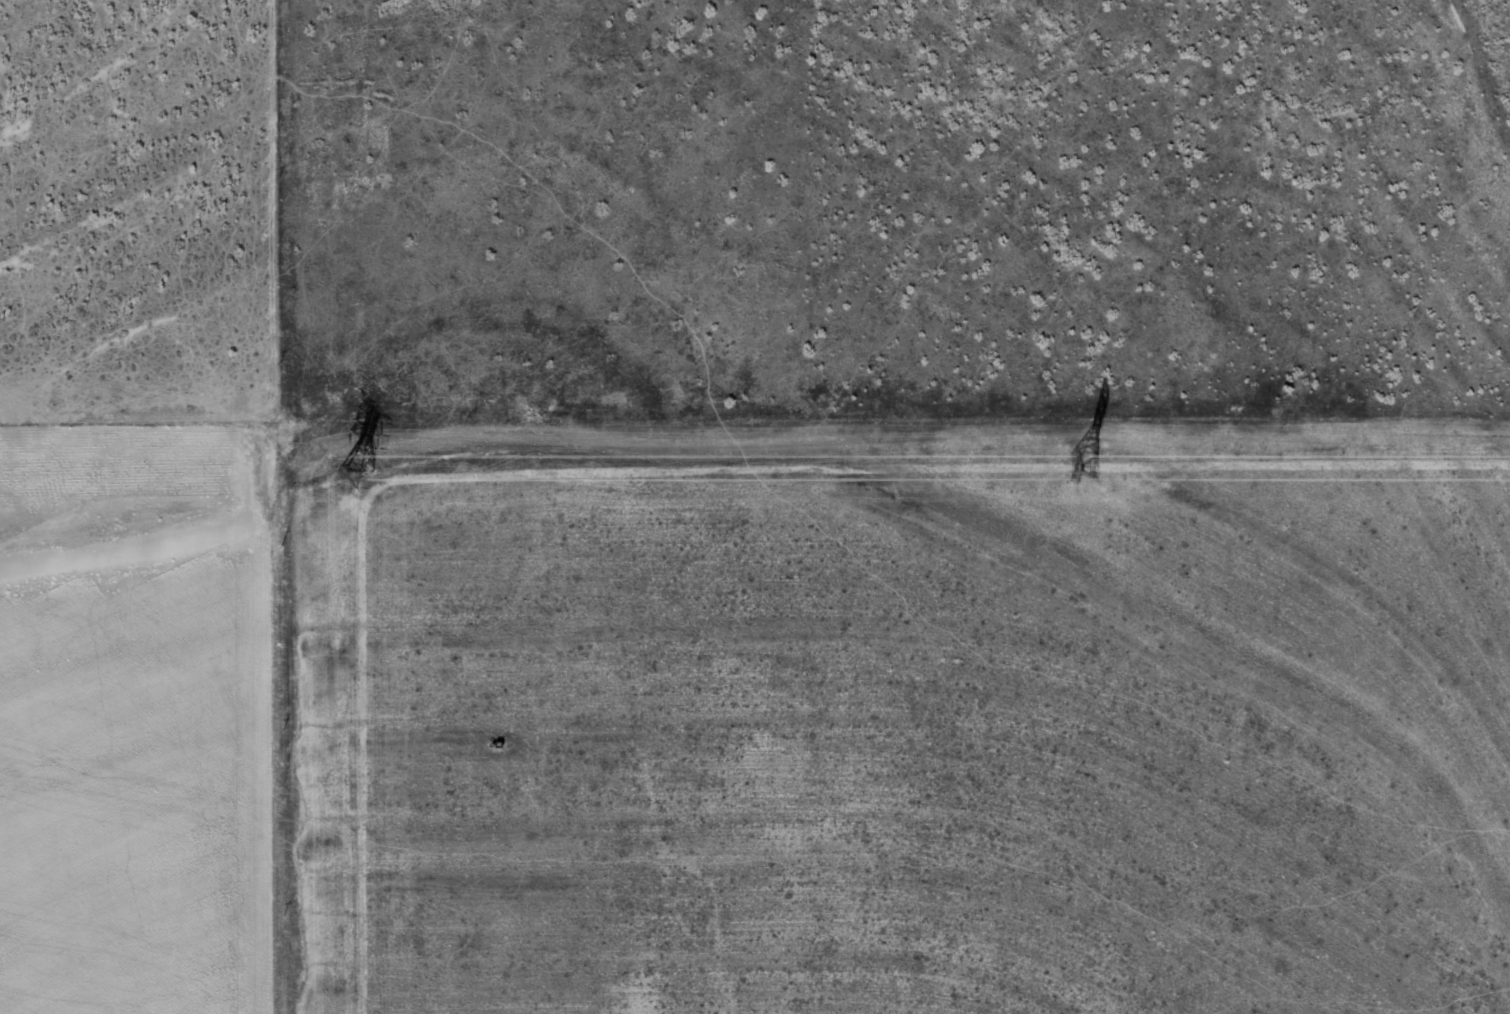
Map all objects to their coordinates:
power tower: (1082, 467)
power tower: (352, 470)

